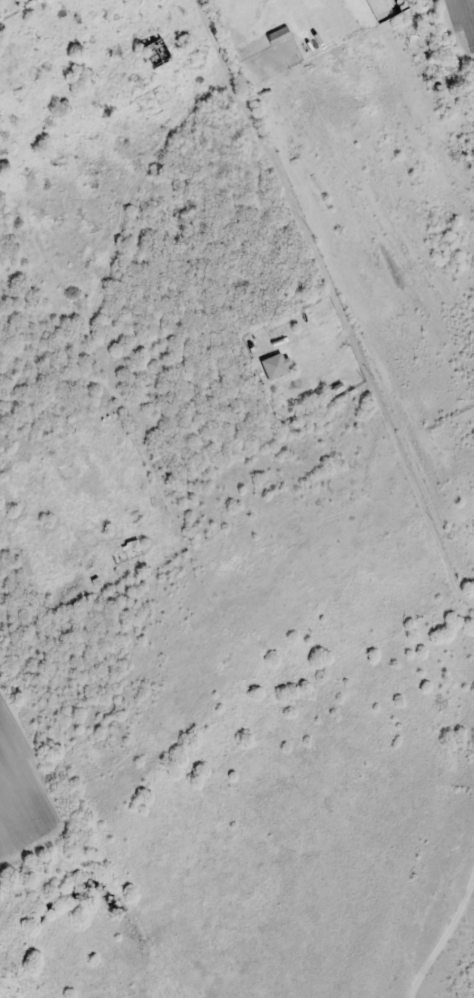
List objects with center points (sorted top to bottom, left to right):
road: (341, 296)
road: (443, 942)

